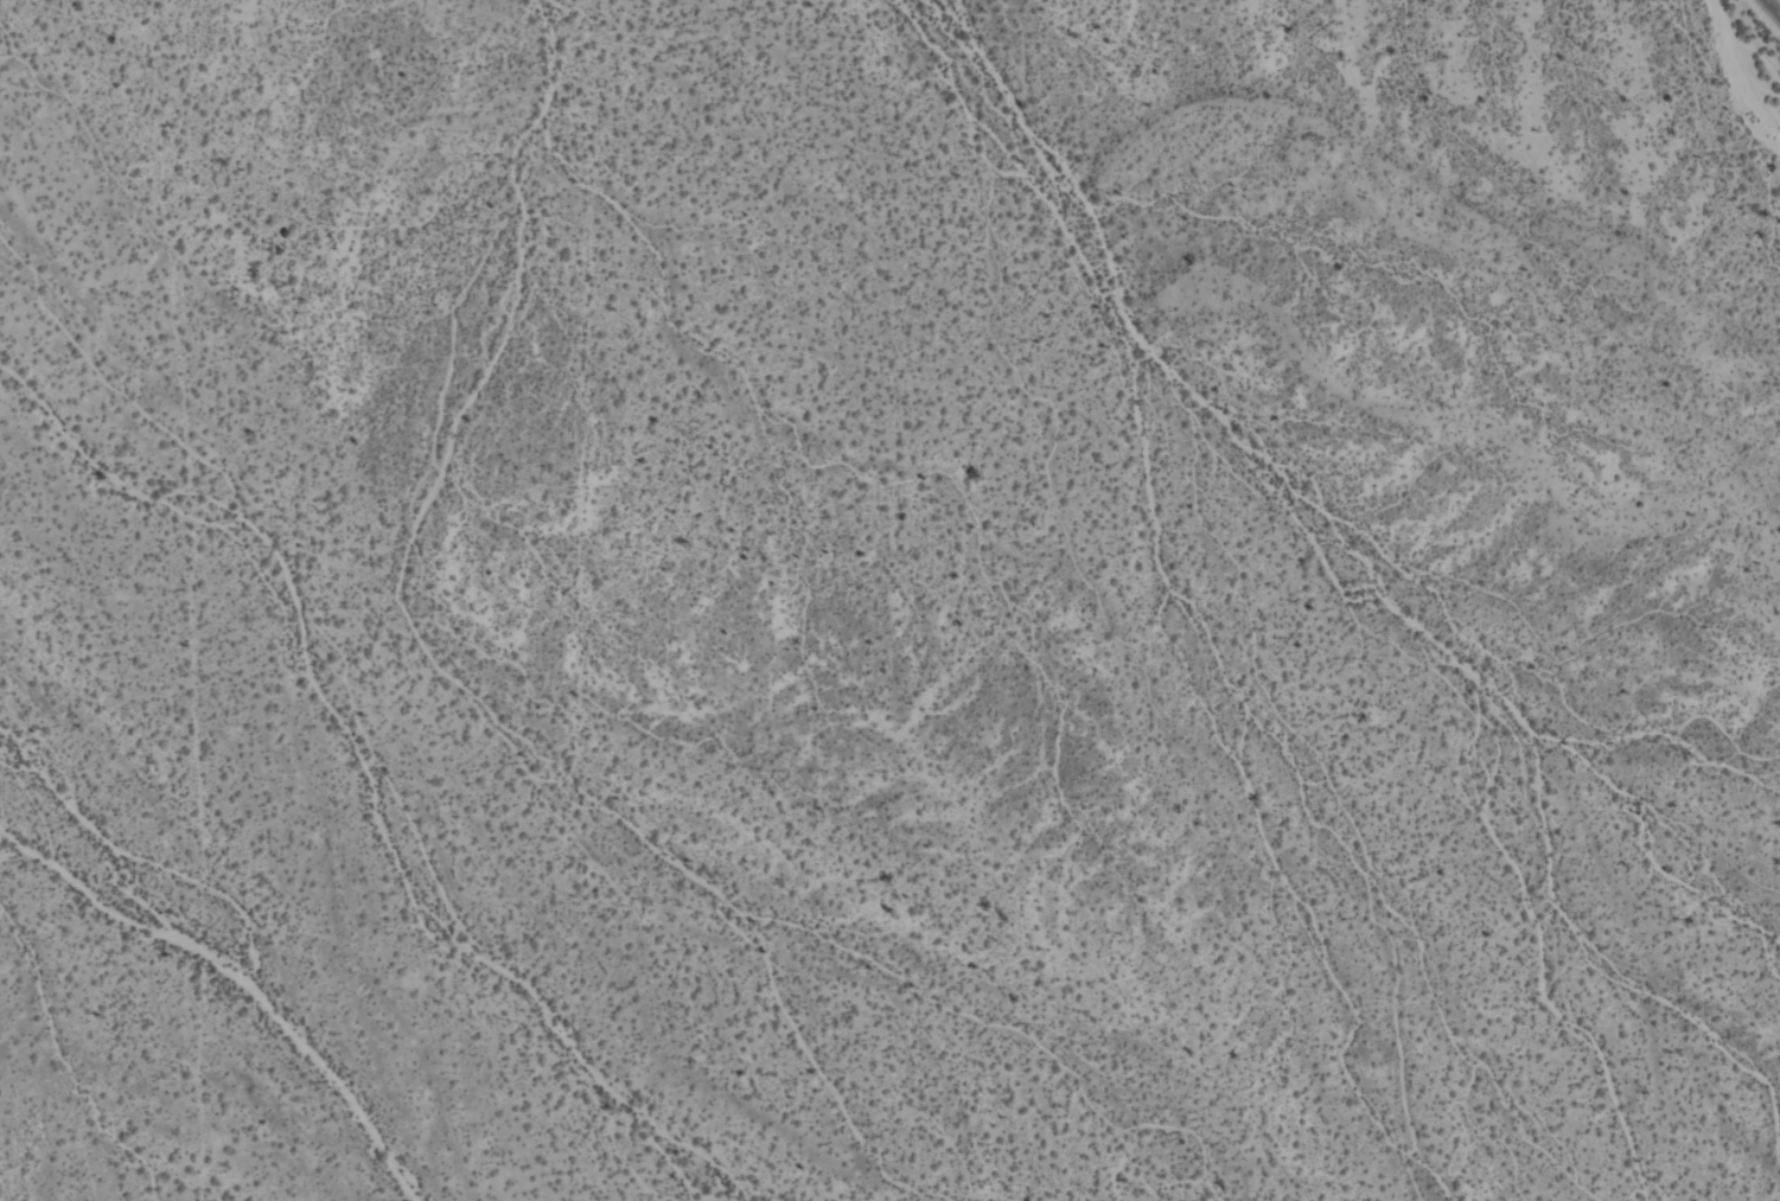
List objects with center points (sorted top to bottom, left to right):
road: (1773, 7)

